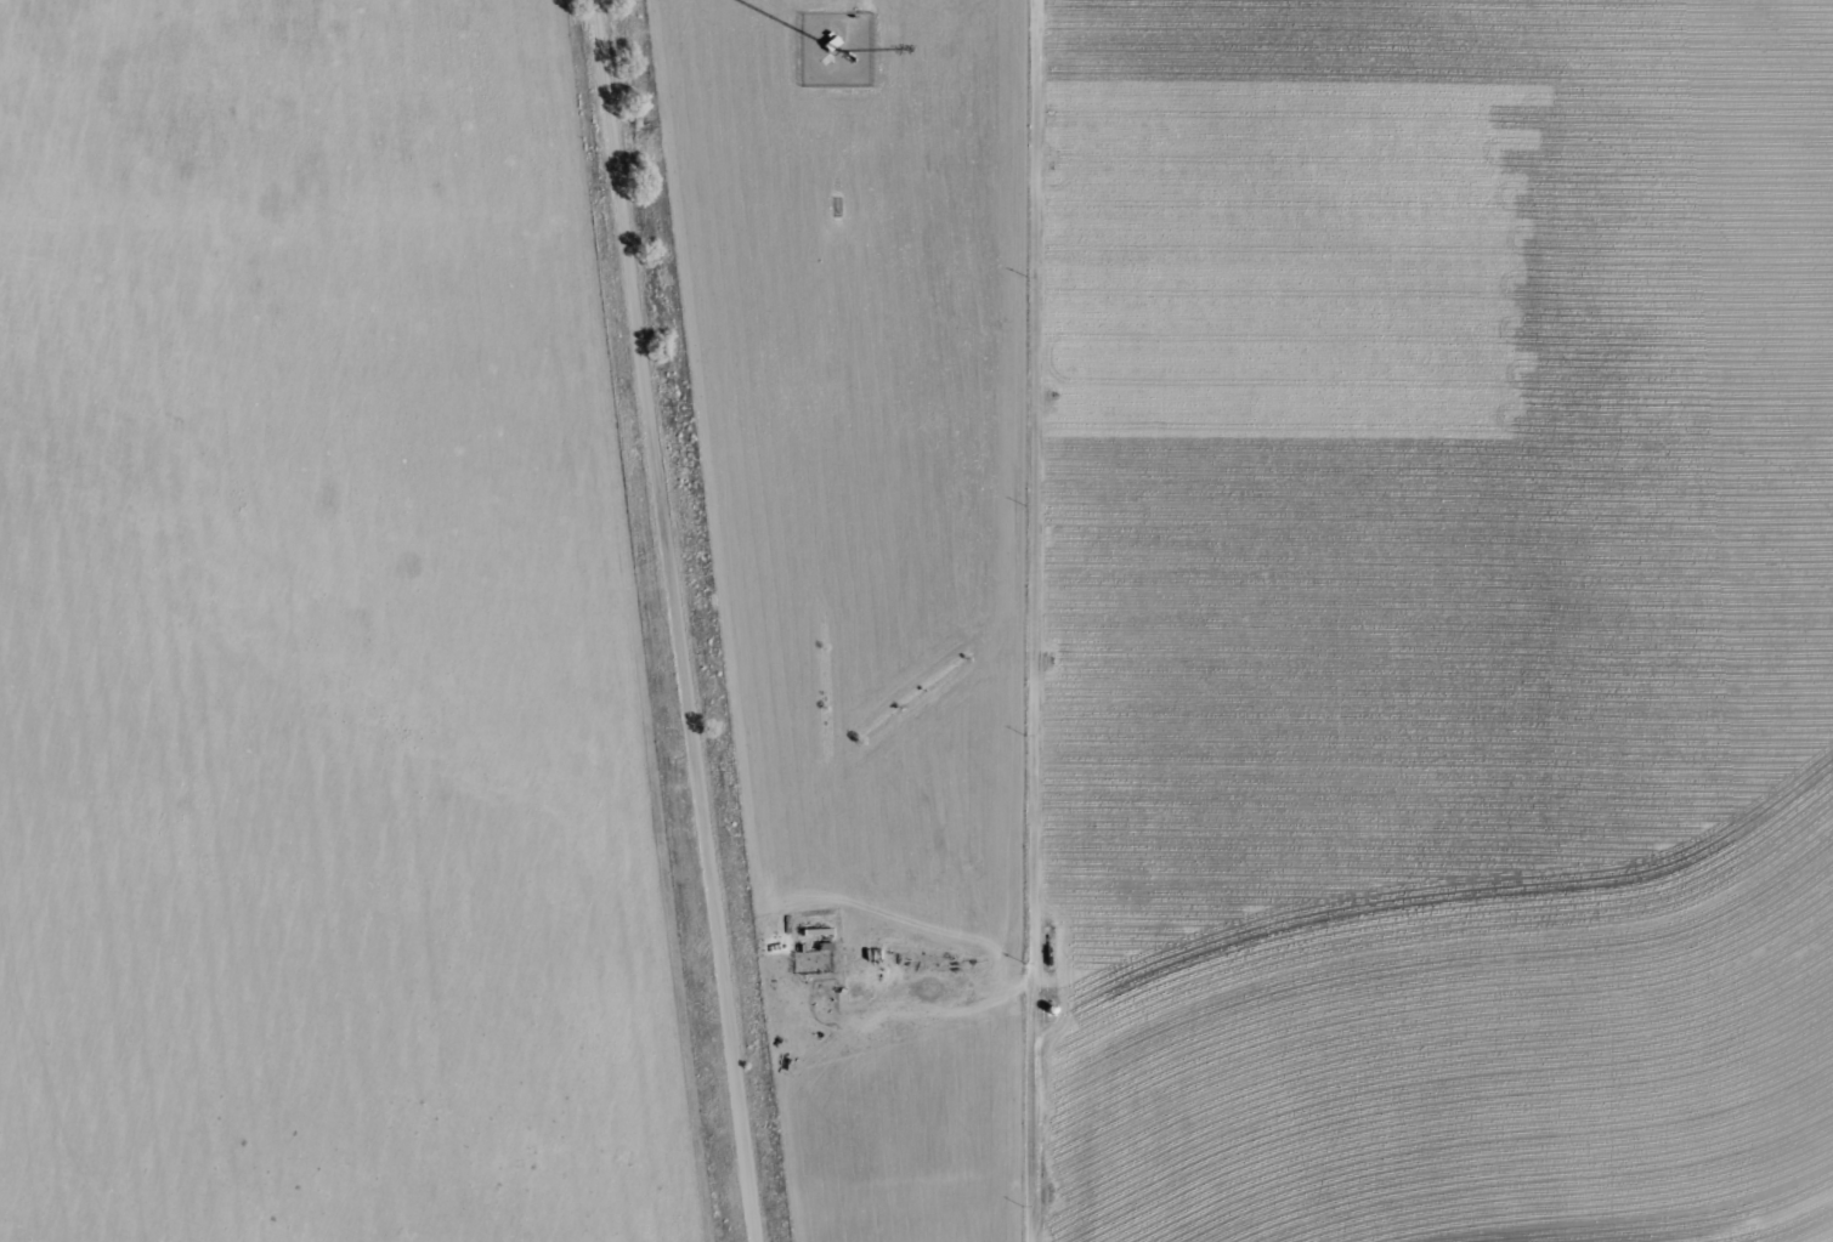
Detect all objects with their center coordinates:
railway: (661, 620)
road: (1029, 620)

